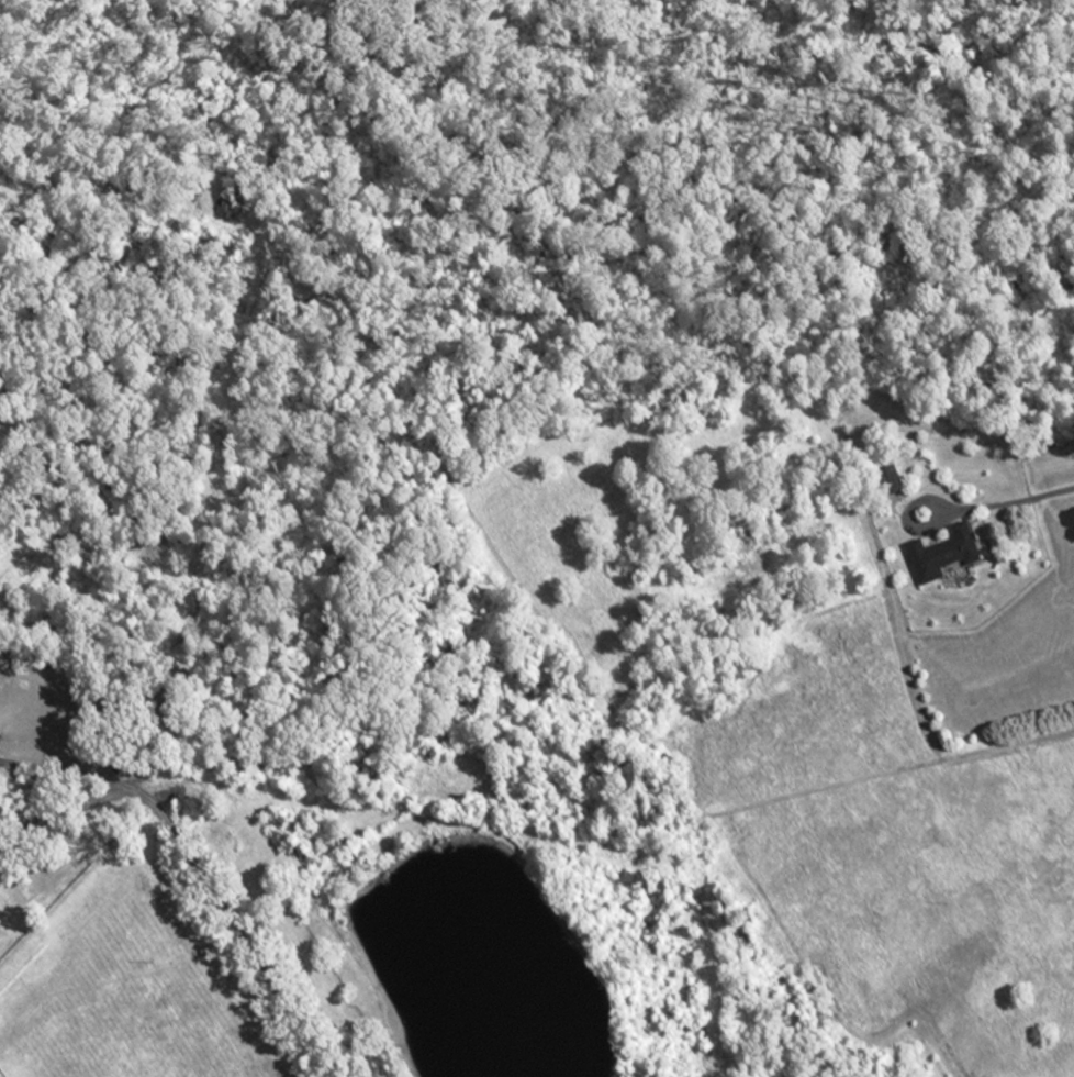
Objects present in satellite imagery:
building: (223, 208)
road: (1009, 502)
road: (367, 540)
building: (939, 558)
road: (64, 773)
road: (199, 870)

